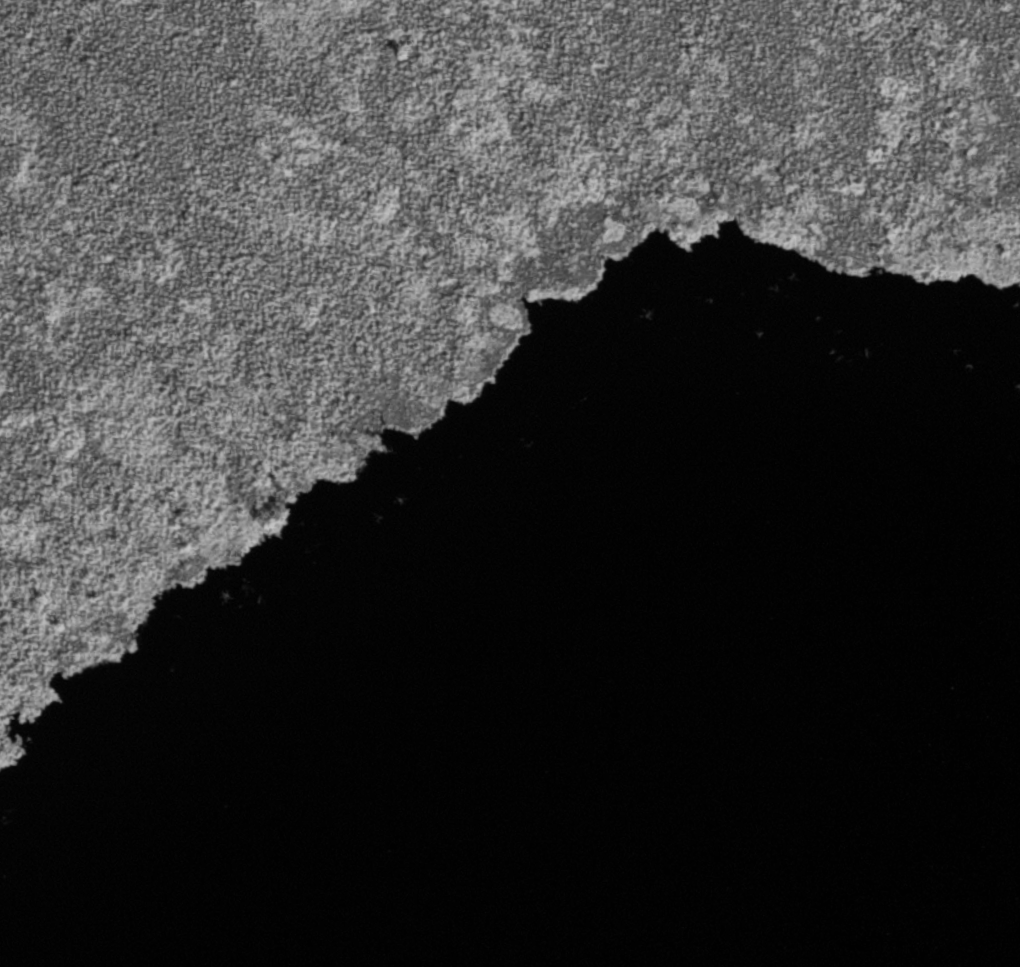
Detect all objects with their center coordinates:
river: (813, 928)

